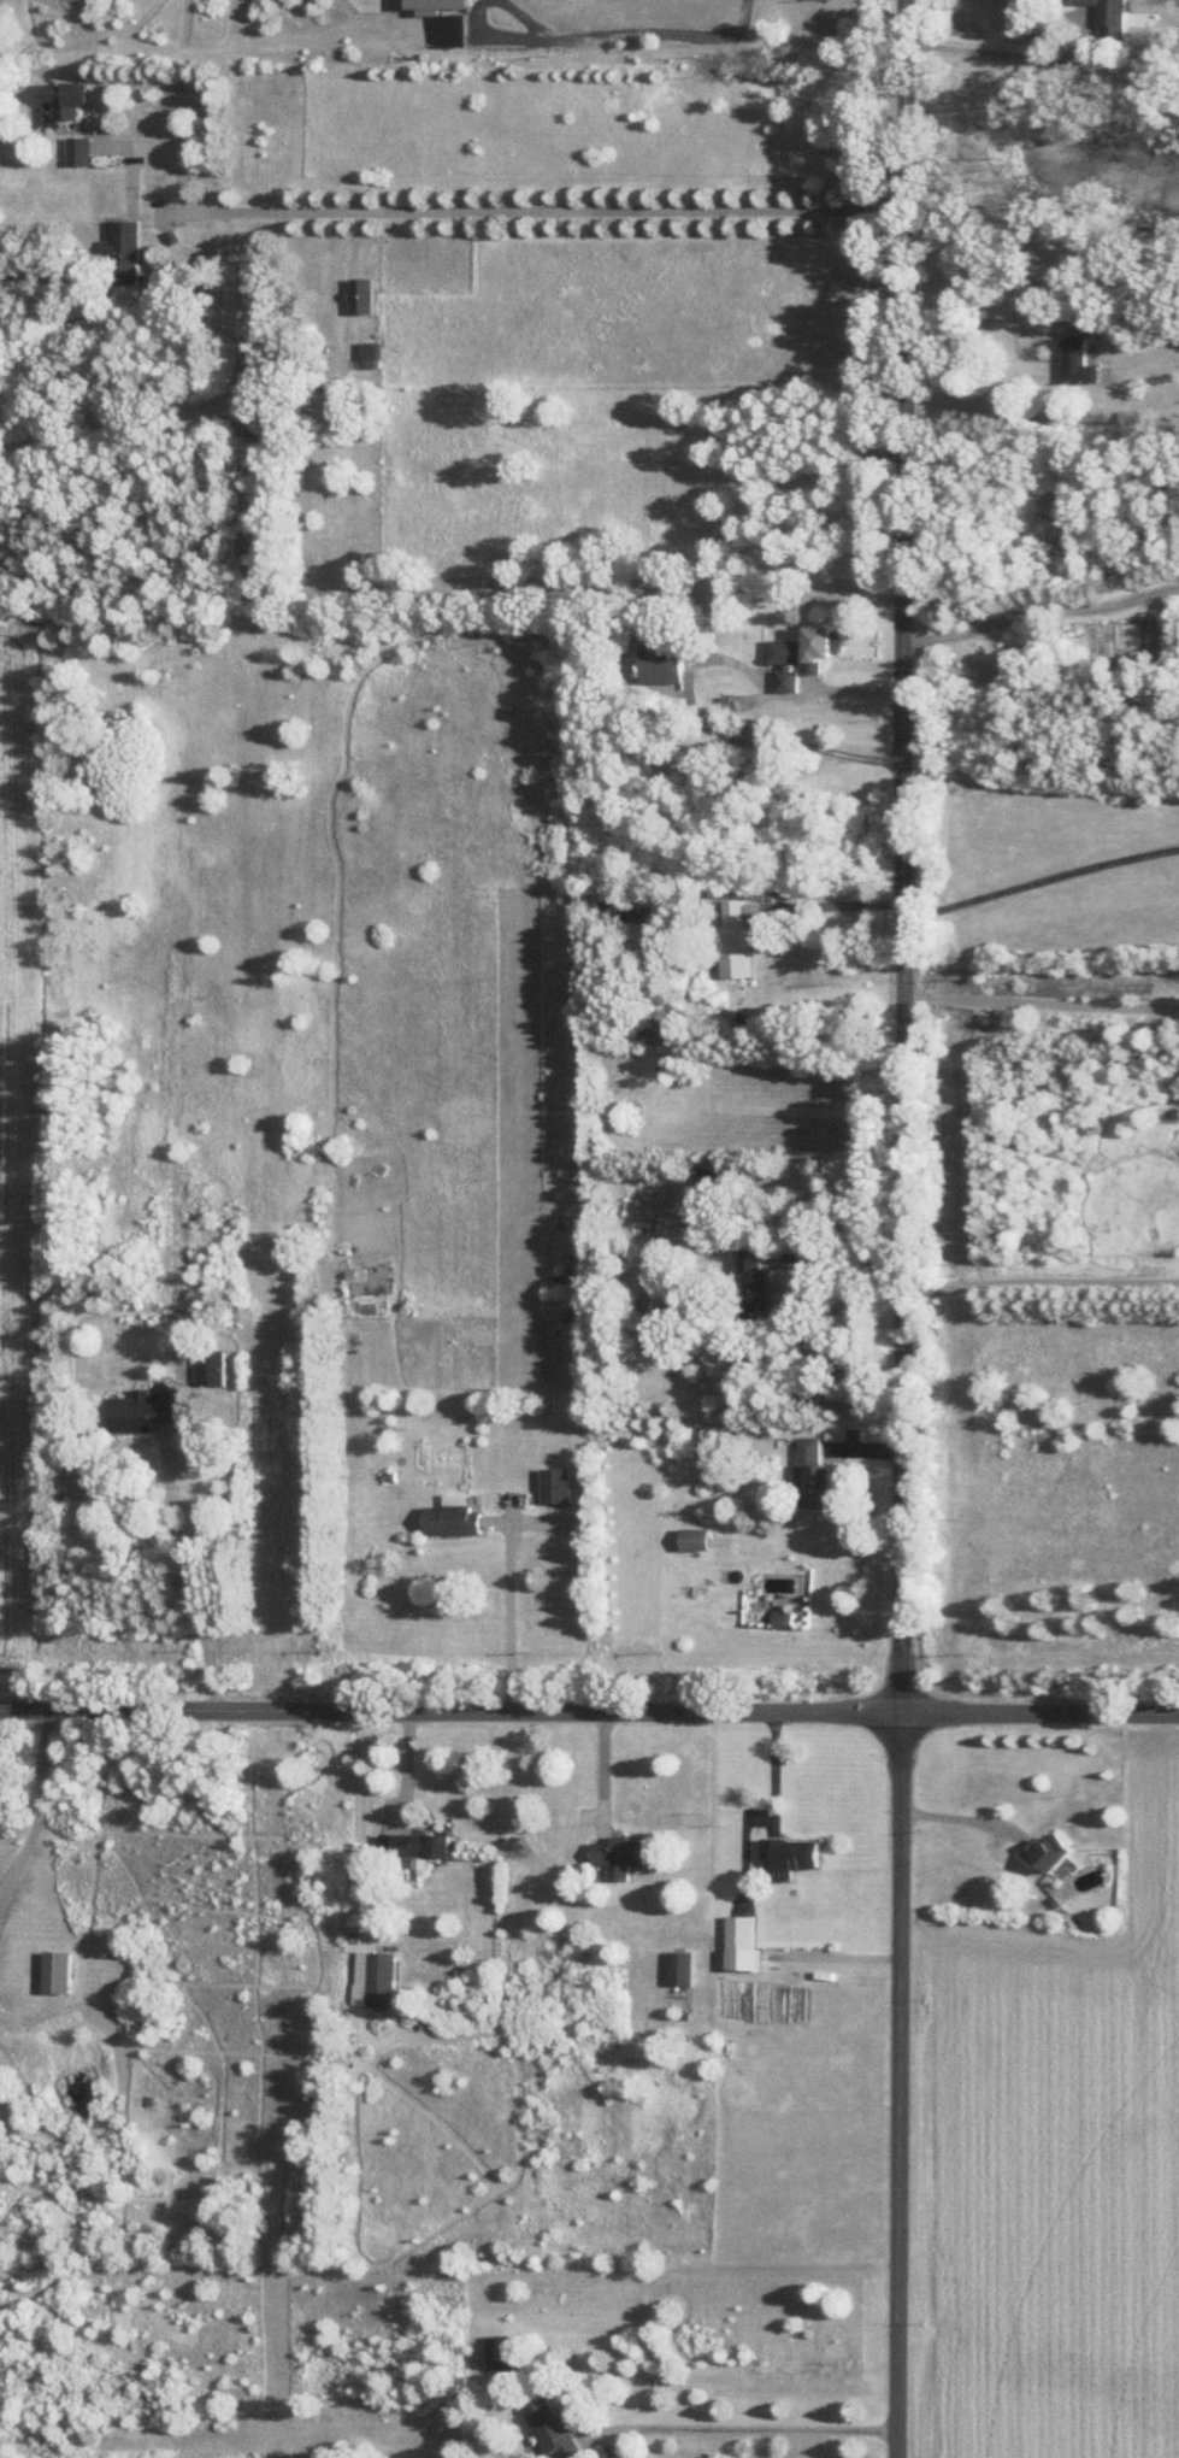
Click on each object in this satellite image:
building: (1112, 17)
road: (992, 51)
building: (69, 98)
building: (81, 148)
road: (167, 154)
road: (547, 211)
building: (124, 251)
building: (364, 293)
building: (373, 353)
building: (1079, 360)
road: (1039, 610)
building: (806, 652)
building: (665, 658)
road: (1039, 880)
building: (615, 906)
road: (832, 906)
building: (736, 936)
road: (1039, 1001)
building: (653, 1024)
road: (902, 1229)
road: (837, 1260)
building: (755, 1275)
road: (1039, 1282)
building: (213, 1365)
building: (142, 1410)
building: (814, 1471)
building: (558, 1483)
building: (454, 1516)
building: (697, 1537)
road: (187, 1586)
road: (508, 1613)
building: (784, 1617)
road: (589, 1707)
road: (409, 1770)
road: (607, 1774)
road: (776, 1774)
road: (34, 1803)
road: (961, 1817)
building: (423, 1845)
road: (745, 1850)
building: (1049, 1850)
building: (621, 1853)
building: (790, 1854)
building: (743, 1941)
building: (683, 1965)
building: (57, 1970)
building: (375, 1976)
crop: (1067, 2178)
building: (500, 2352)
building: (554, 2428)
road: (745, 2434)

